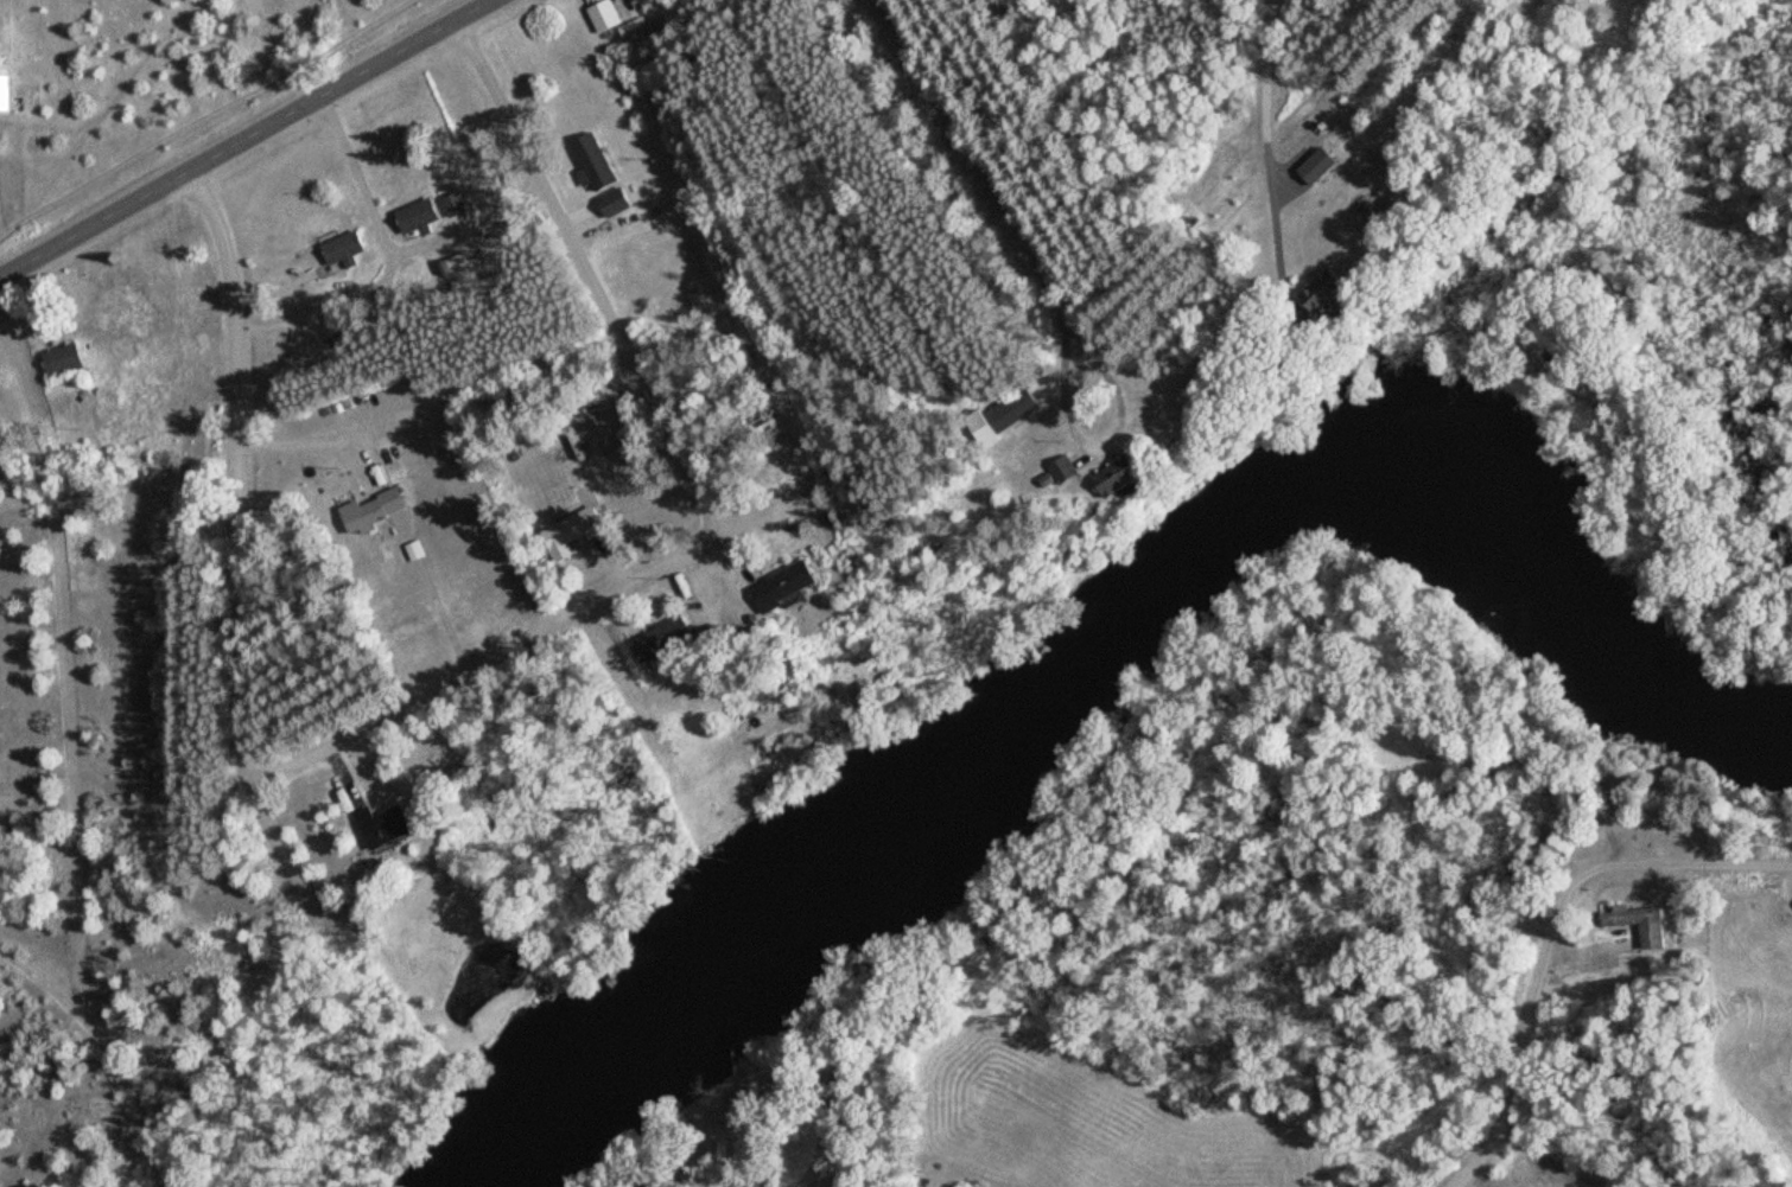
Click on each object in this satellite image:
building: (605, 14)
building: (643, 36)
building: (5, 91)
road: (246, 136)
building: (596, 162)
building: (1320, 164)
building: (617, 200)
building: (422, 216)
road: (992, 217)
building: (345, 247)
building: (1329, 287)
building: (127, 311)
building: (66, 358)
building: (1004, 414)
building: (1066, 467)
building: (1123, 473)
building: (376, 509)
building: (573, 531)
river: (1112, 632)
building: (666, 638)
road: (472, 670)
building: (386, 824)
building: (1644, 923)
road: (1549, 933)
building: (1562, 1186)

